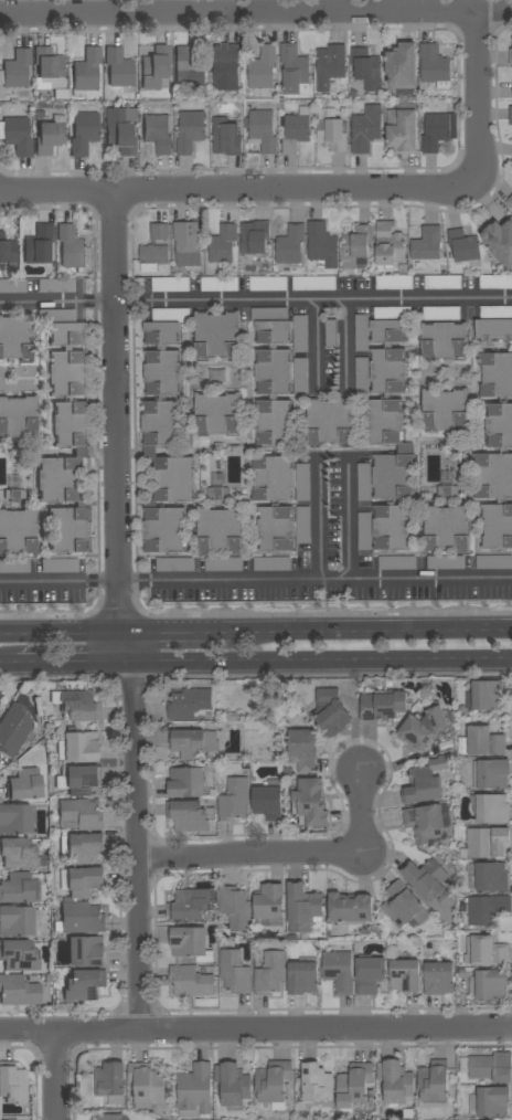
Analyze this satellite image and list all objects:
road: (256, 12)
building: (511, 56)
building: (49, 63)
building: (434, 64)
building: (330, 65)
building: (403, 66)
building: (119, 67)
building: (157, 67)
building: (227, 67)
building: (17, 68)
building: (263, 68)
building: (366, 68)
building: (188, 70)
building: (295, 71)
building: (87, 72)
road: (477, 98)
building: (511, 114)
building: (264, 129)
building: (365, 129)
building: (403, 129)
building: (296, 130)
building: (331, 130)
building: (119, 131)
building: (190, 131)
building: (437, 131)
building: (84, 133)
building: (158, 133)
building: (18, 136)
building: (50, 137)
building: (226, 137)
road: (237, 192)
building: (510, 202)
road: (370, 208)
building: (159, 232)
building: (504, 236)
building: (254, 239)
building: (427, 244)
building: (39, 245)
building: (189, 245)
building: (290, 245)
building: (322, 245)
building: (388, 245)
road: (113, 246)
building: (223, 246)
building: (355, 246)
building: (72, 247)
building: (465, 247)
building: (8, 254)
building: (153, 255)
building: (495, 282)
building: (313, 283)
building: (394, 283)
building: (442, 283)
building: (220, 284)
building: (268, 284)
building: (56, 285)
building: (170, 285)
building: (12, 286)
road: (93, 296)
road: (131, 297)
road: (331, 298)
road: (132, 299)
road: (94, 300)
road: (36, 302)
building: (441, 314)
building: (494, 324)
building: (361, 332)
building: (300, 334)
building: (331, 334)
building: (217, 335)
building: (17, 337)
building: (445, 340)
building: (362, 376)
building: (273, 377)
building: (300, 377)
road: (331, 393)
building: (445, 410)
building: (217, 414)
building: (18, 416)
building: (330, 421)
building: (390, 429)
building: (66, 434)
building: (164, 434)
road: (118, 442)
building: (504, 451)
building: (302, 482)
building: (364, 482)
building: (448, 492)
building: (218, 493)
building: (14, 495)
building: (275, 503)
road: (320, 504)
road: (100, 508)
road: (348, 521)
building: (303, 525)
building: (447, 528)
building: (220, 530)
building: (364, 530)
building: (18, 531)
building: (493, 561)
building: (396, 562)
building: (446, 562)
building: (174, 564)
building: (223, 564)
building: (271, 564)
building: (14, 566)
building: (60, 566)
road: (316, 580)
road: (42, 581)
road: (103, 581)
road: (175, 613)
road: (121, 624)
road: (372, 632)
road: (61, 633)
road: (178, 633)
road: (317, 664)
road: (8, 666)
road: (70, 666)
building: (486, 694)
building: (0, 696)
building: (190, 705)
building: (81, 706)
building: (383, 706)
building: (2, 709)
building: (331, 711)
building: (423, 728)
building: (14, 729)
building: (484, 741)
building: (193, 743)
building: (79, 747)
building: (303, 749)
building: (491, 773)
building: (78, 779)
building: (185, 782)
building: (425, 782)
building: (24, 784)
building: (234, 800)
building: (268, 802)
building: (310, 803)
road: (362, 809)
building: (491, 809)
building: (82, 813)
building: (188, 816)
building: (15, 818)
building: (425, 823)
building: (487, 842)
building: (84, 847)
road: (136, 847)
building: (19, 854)
road: (249, 854)
building: (491, 877)
building: (426, 879)
building: (84, 881)
building: (17, 888)
building: (269, 901)
building: (192, 905)
building: (404, 906)
building: (303, 907)
building: (236, 908)
building: (350, 908)
building: (483, 909)
building: (81, 918)
building: (15, 921)
building: (191, 943)
building: (86, 951)
building: (489, 952)
building: (19, 955)
building: (339, 971)
building: (235, 972)
building: (270, 973)
building: (369, 974)
building: (406, 975)
building: (303, 976)
building: (438, 979)
building: (191, 981)
building: (490, 984)
building: (85, 985)
building: (19, 991)
road: (255, 1029)
building: (490, 1066)
road: (54, 1076)
building: (274, 1081)
building: (110, 1082)
building: (317, 1082)
building: (435, 1082)
building: (13, 1084)
building: (147, 1084)
building: (233, 1084)
building: (355, 1084)
building: (396, 1084)
building: (195, 1091)
building: (493, 1101)
building: (110, 1117)

